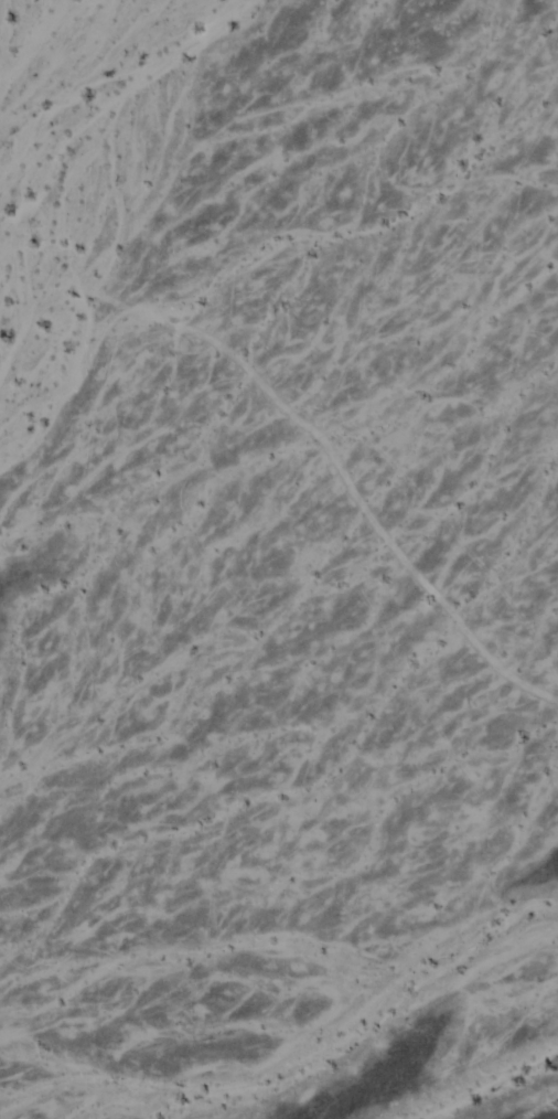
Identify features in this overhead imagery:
road: (315, 435)

